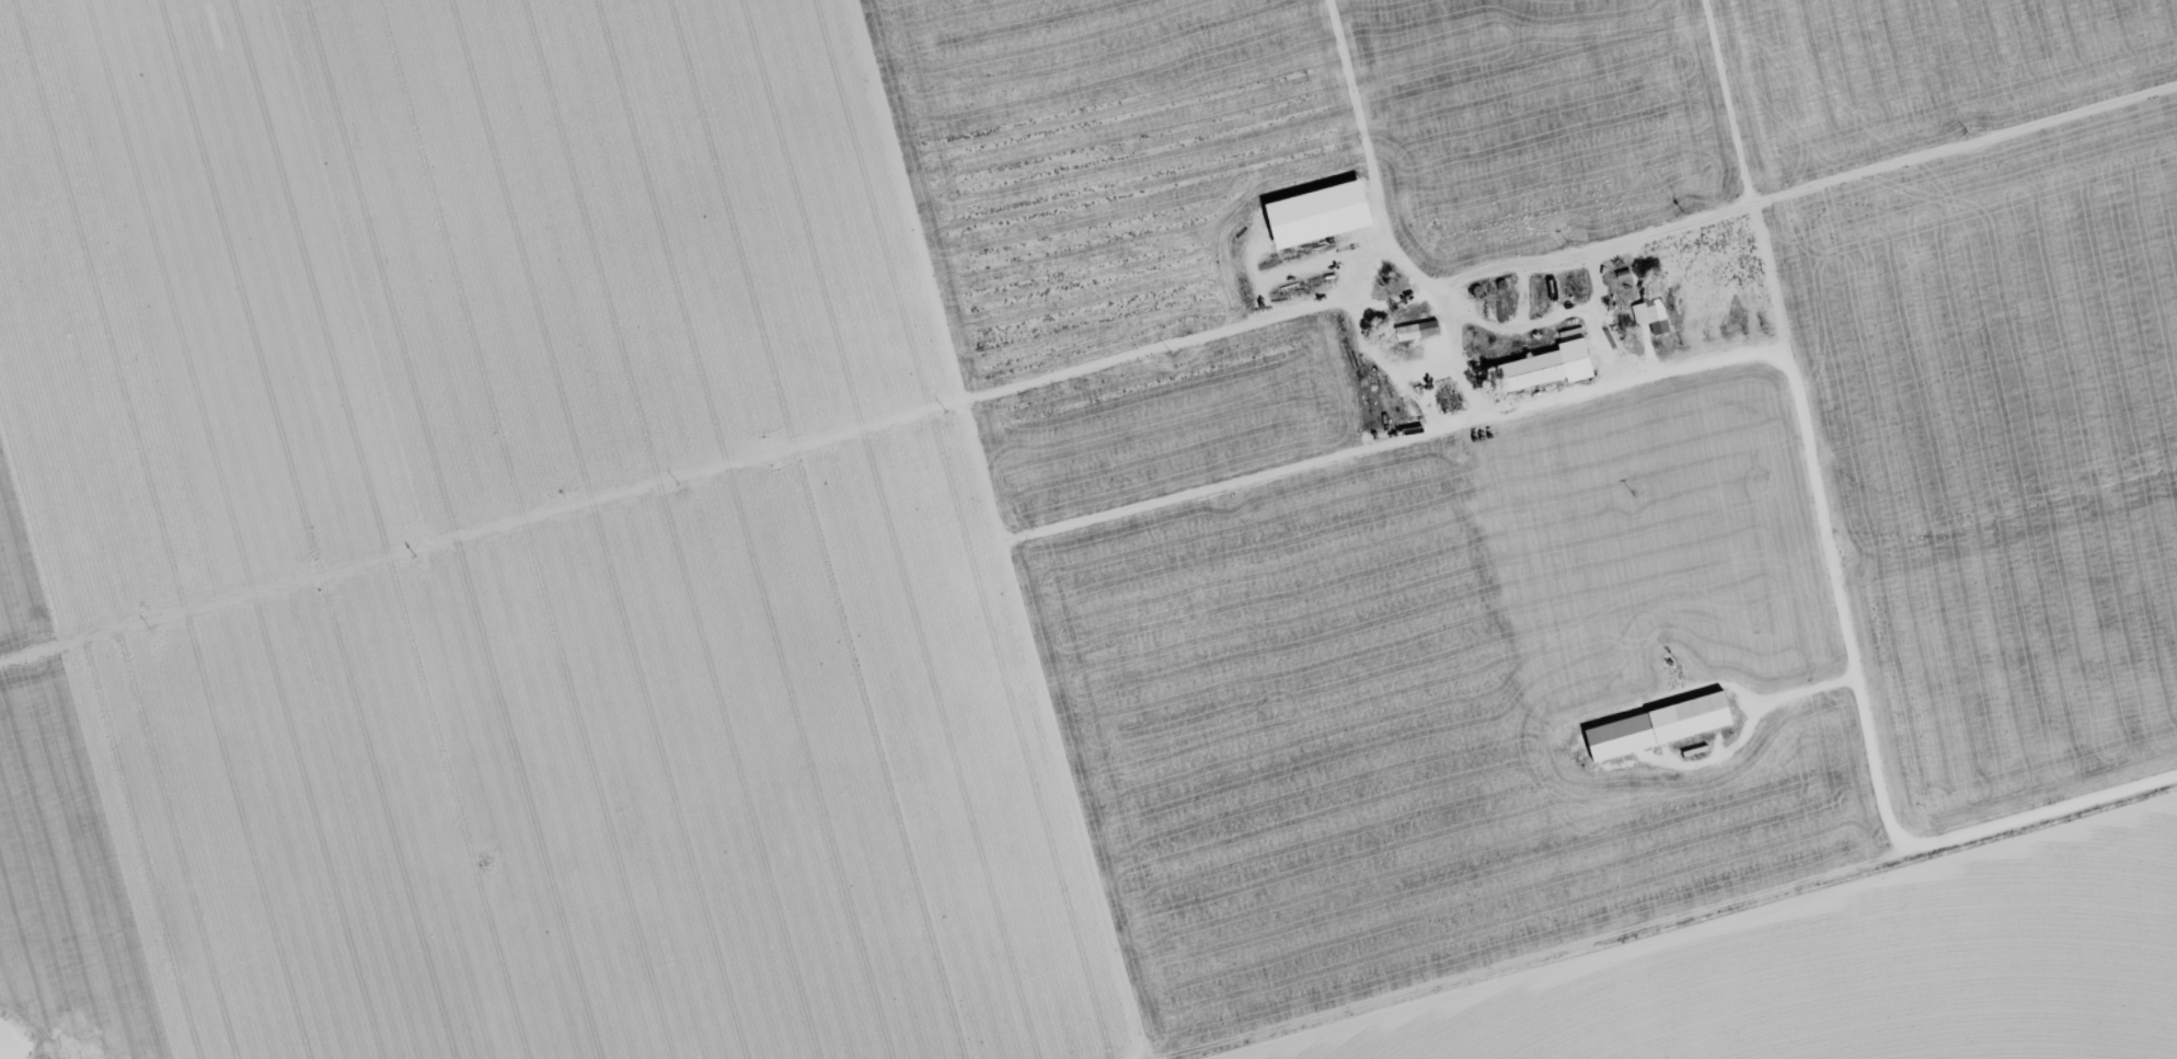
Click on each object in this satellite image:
building: (1657, 314)
building: (1413, 330)
building: (1552, 365)
road: (982, 529)
building: (1663, 724)

